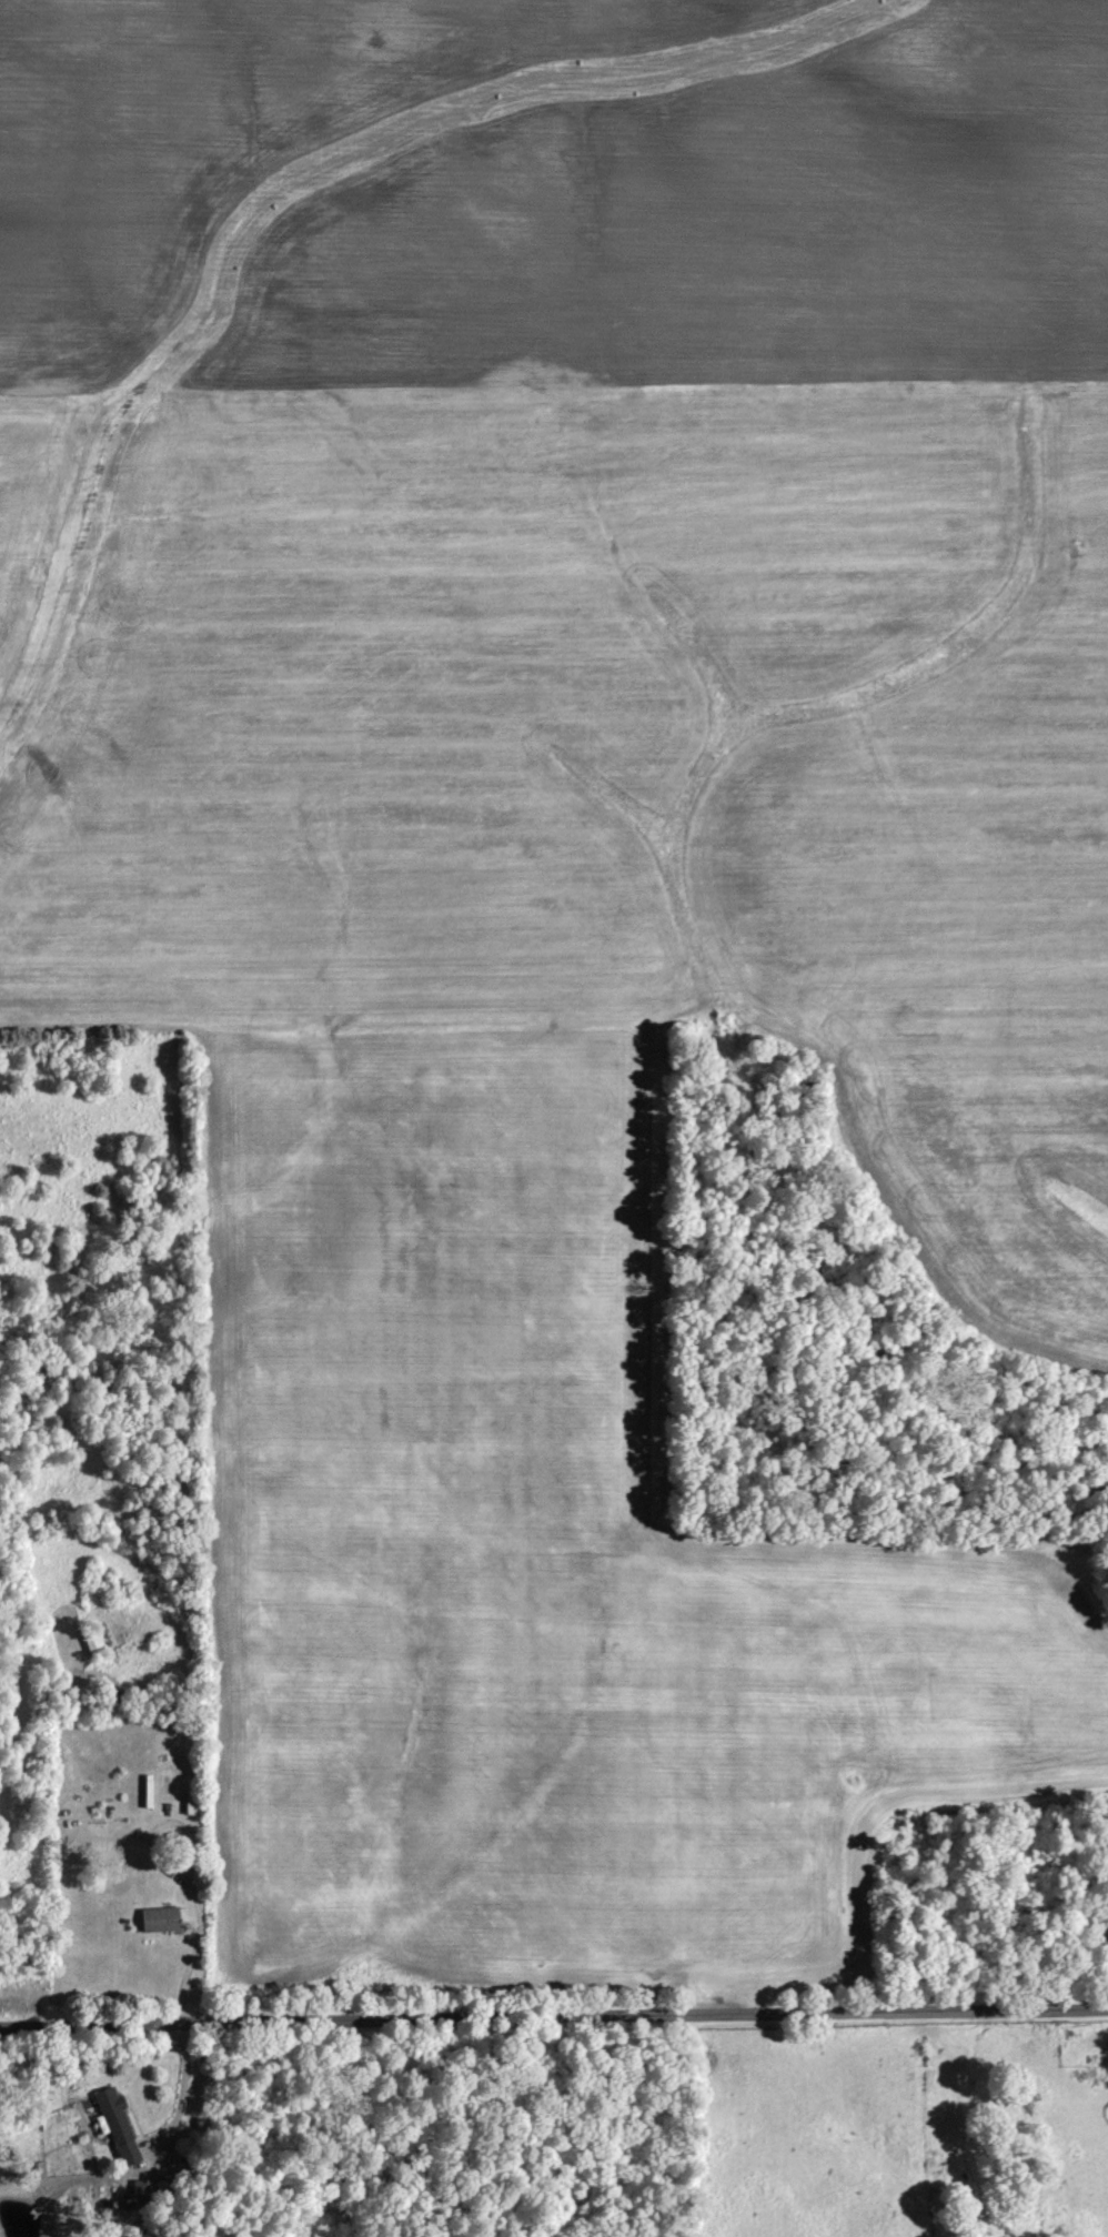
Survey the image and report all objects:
building: (164, 1919)
road: (553, 2017)
road: (181, 2100)
building: (119, 2125)
building: (144, 2196)

